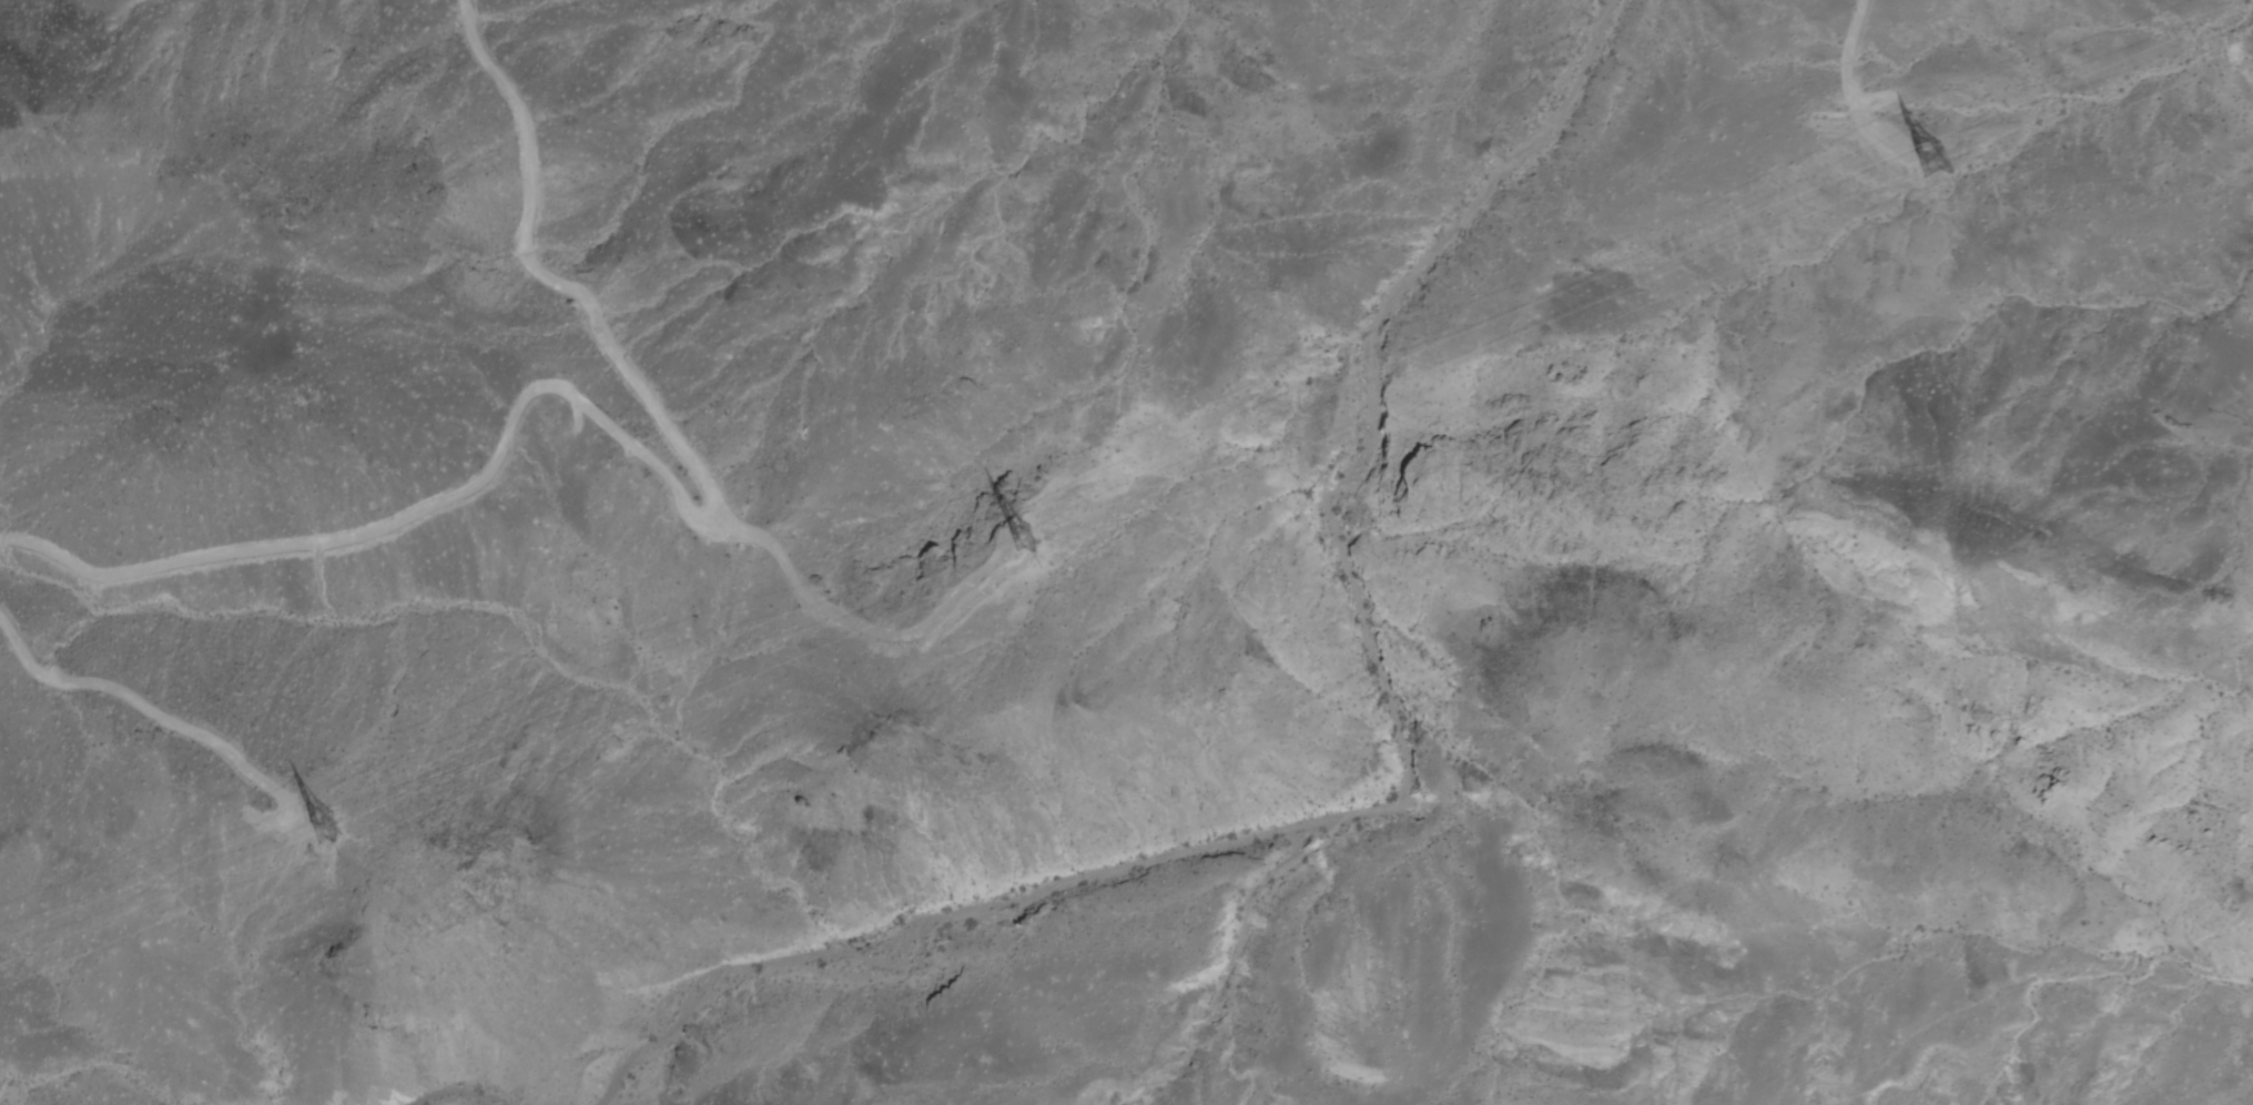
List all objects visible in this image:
power tower: (1920, 154)
power tower: (1032, 539)
power tower: (316, 830)

